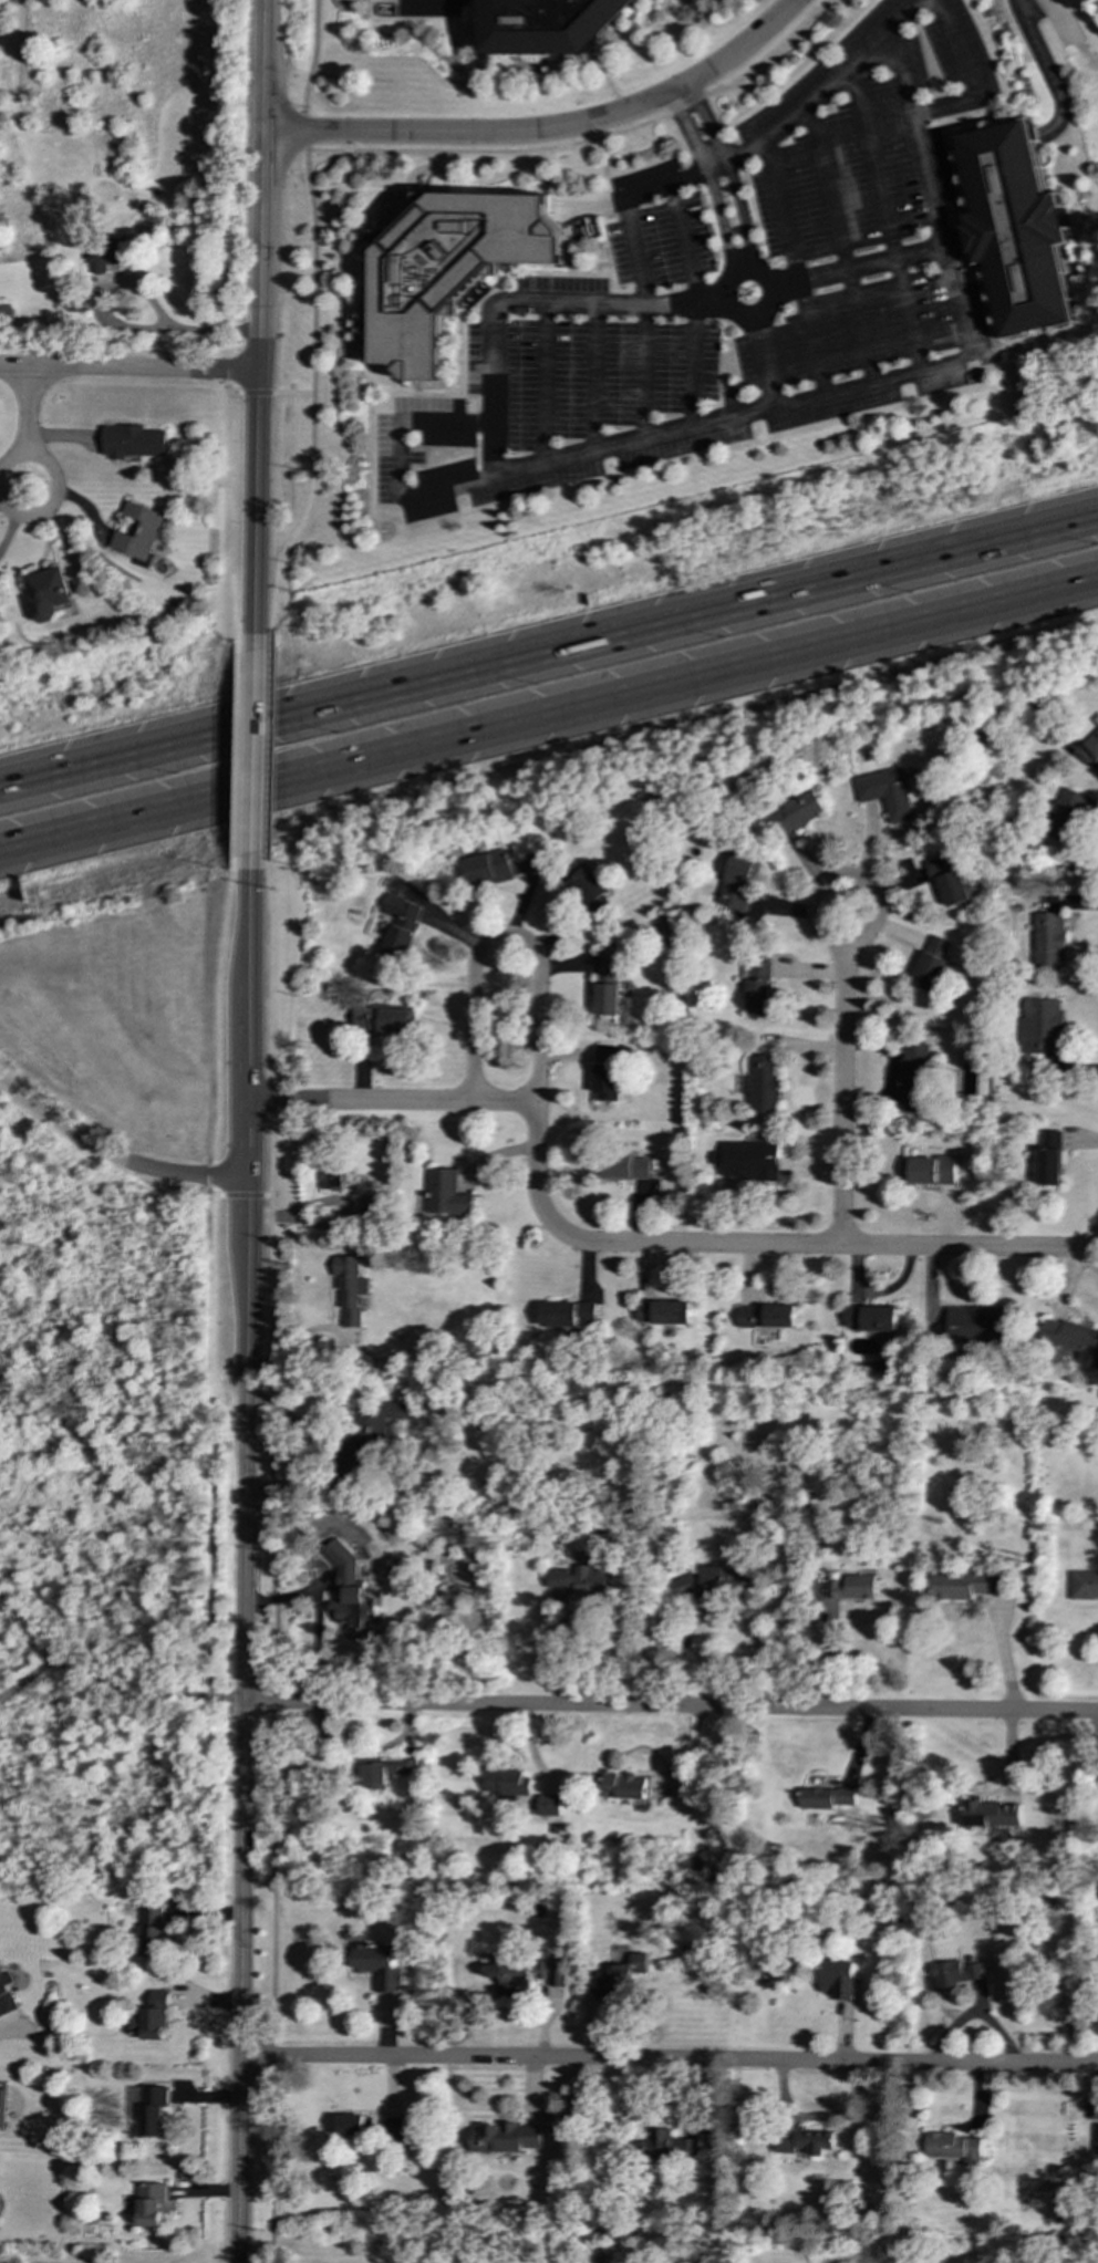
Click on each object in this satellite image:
building: (546, 24)
road: (1069, 44)
road: (311, 66)
road: (1043, 68)
road: (547, 131)
building: (1016, 229)
building: (102, 257)
building: (447, 267)
road: (847, 272)
road: (313, 293)
building: (8, 315)
road: (259, 332)
road: (763, 353)
road: (130, 368)
road: (234, 368)
road: (251, 392)
road: (292, 392)
road: (27, 409)
road: (727, 422)
building: (133, 442)
road: (491, 453)
road: (53, 487)
road: (231, 521)
building: (137, 532)
road: (281, 554)
building: (46, 593)
road: (549, 650)
road: (549, 713)
building: (1096, 719)
building: (1091, 745)
road: (269, 747)
road: (237, 748)
road: (253, 749)
building: (885, 793)
building: (1066, 814)
building: (791, 816)
building: (486, 869)
building: (737, 880)
building: (949, 880)
road: (870, 887)
building: (589, 892)
building: (400, 925)
road: (507, 936)
building: (1048, 941)
road: (273, 958)
building: (932, 964)
building: (609, 983)
building: (758, 989)
road: (218, 999)
building: (383, 1020)
building: (1042, 1026)
building: (608, 1073)
building: (914, 1075)
building: (762, 1084)
road: (272, 1098)
road: (393, 1100)
road: (841, 1101)
building: (1048, 1158)
road: (114, 1159)
building: (749, 1161)
building: (629, 1170)
building: (931, 1170)
road: (213, 1175)
building: (331, 1176)
road: (241, 1194)
building: (445, 1194)
road: (270, 1237)
road: (762, 1246)
road: (1085, 1260)
building: (349, 1290)
road: (211, 1302)
building: (664, 1312)
building: (569, 1315)
building: (766, 1316)
building: (870, 1318)
building: (975, 1326)
building: (1071, 1339)
park: (125, 1378)
building: (367, 1435)
road: (246, 1548)
road: (209, 1557)
building: (432, 1563)
building: (716, 1580)
building: (588, 1581)
building: (963, 1585)
building: (1083, 1585)
building: (851, 1587)
building: (349, 1592)
road: (28, 1637)
road: (1011, 1653)
road: (116, 1684)
road: (671, 1707)
road: (1096, 1724)
building: (383, 1772)
building: (505, 1782)
building: (624, 1786)
building: (825, 1798)
building: (549, 1806)
road: (272, 1813)
building: (990, 1815)
building: (153, 1932)
building: (376, 1965)
building: (622, 1969)
building: (526, 1974)
building: (952, 1975)
building: (838, 1979)
building: (6, 1995)
building: (151, 2018)
road: (669, 2060)
building: (2, 2107)
building: (148, 2109)
building: (349, 2125)
building: (393, 2129)
building: (505, 2139)
building: (802, 2140)
building: (1096, 2140)
building: (665, 2146)
building: (951, 2148)
building: (151, 2204)

